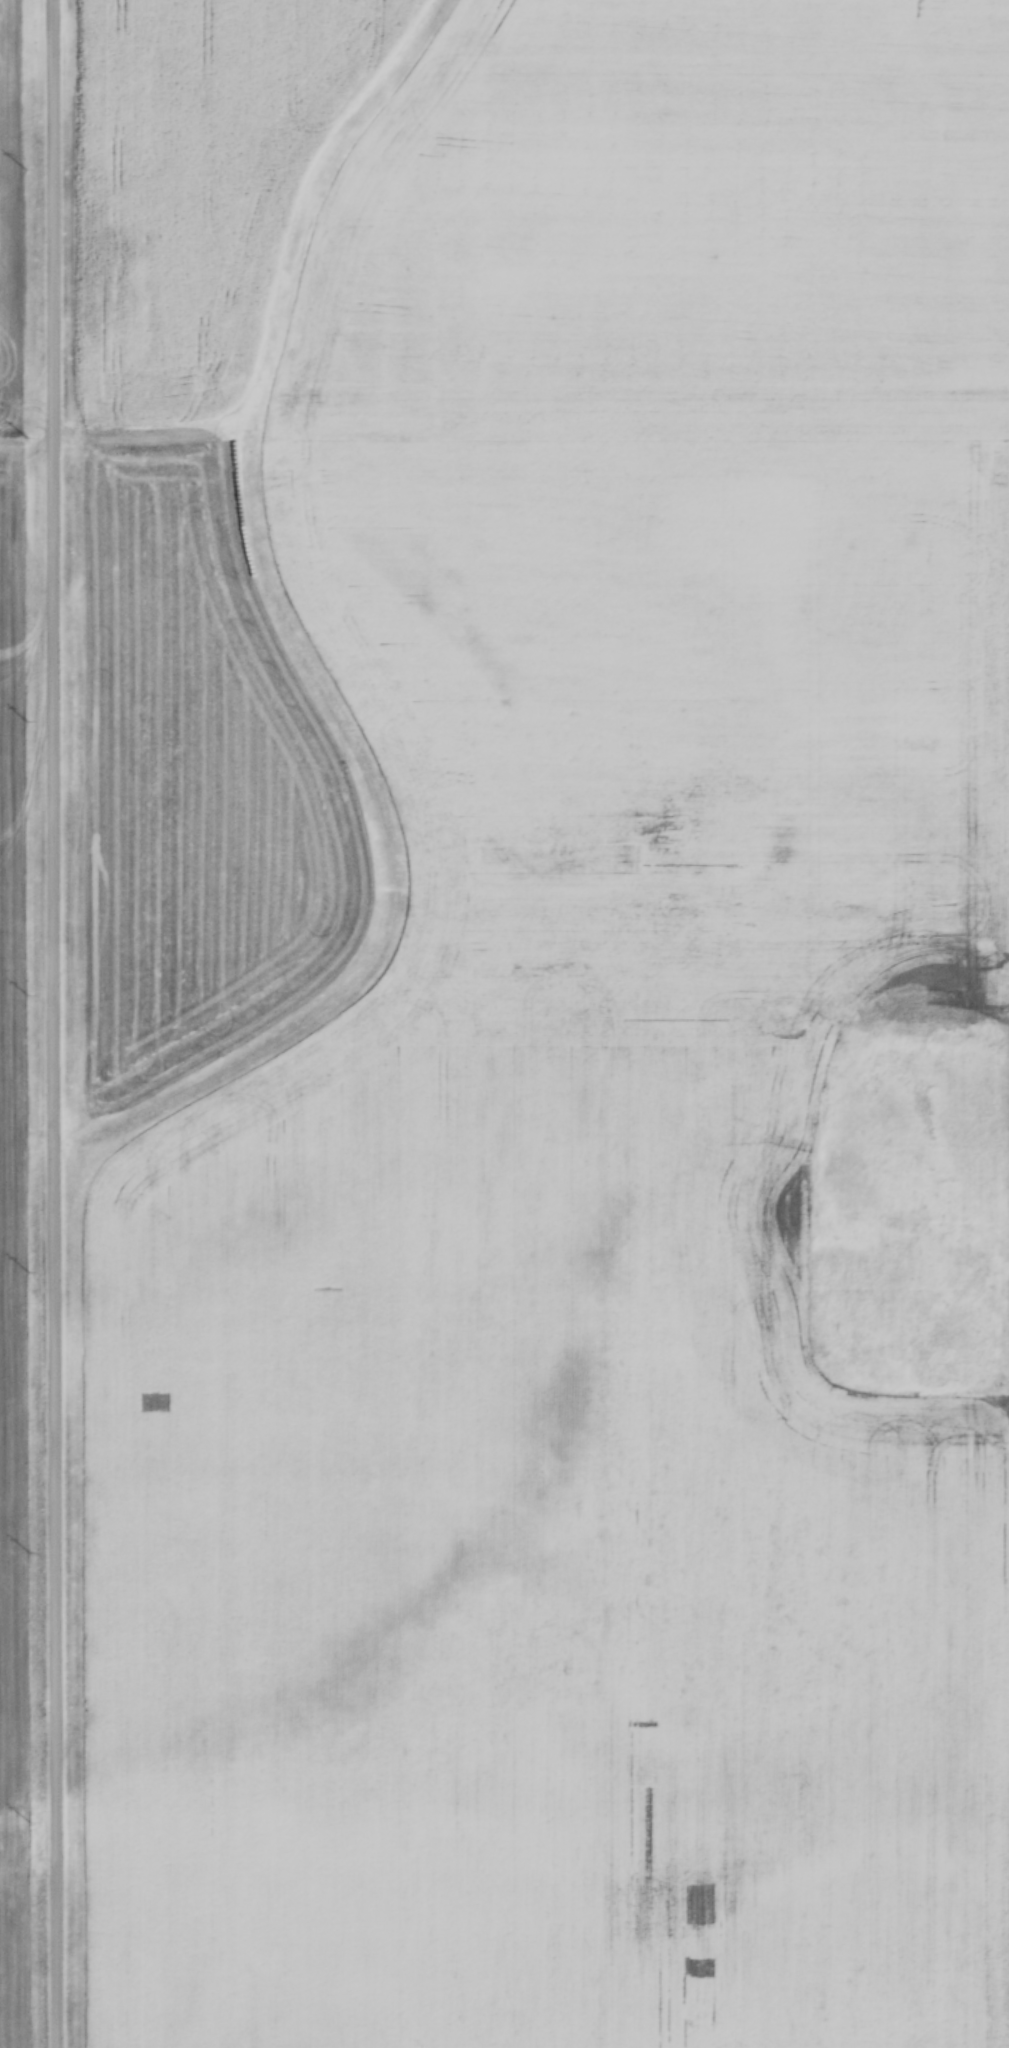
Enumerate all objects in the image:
road: (56, 1024)

